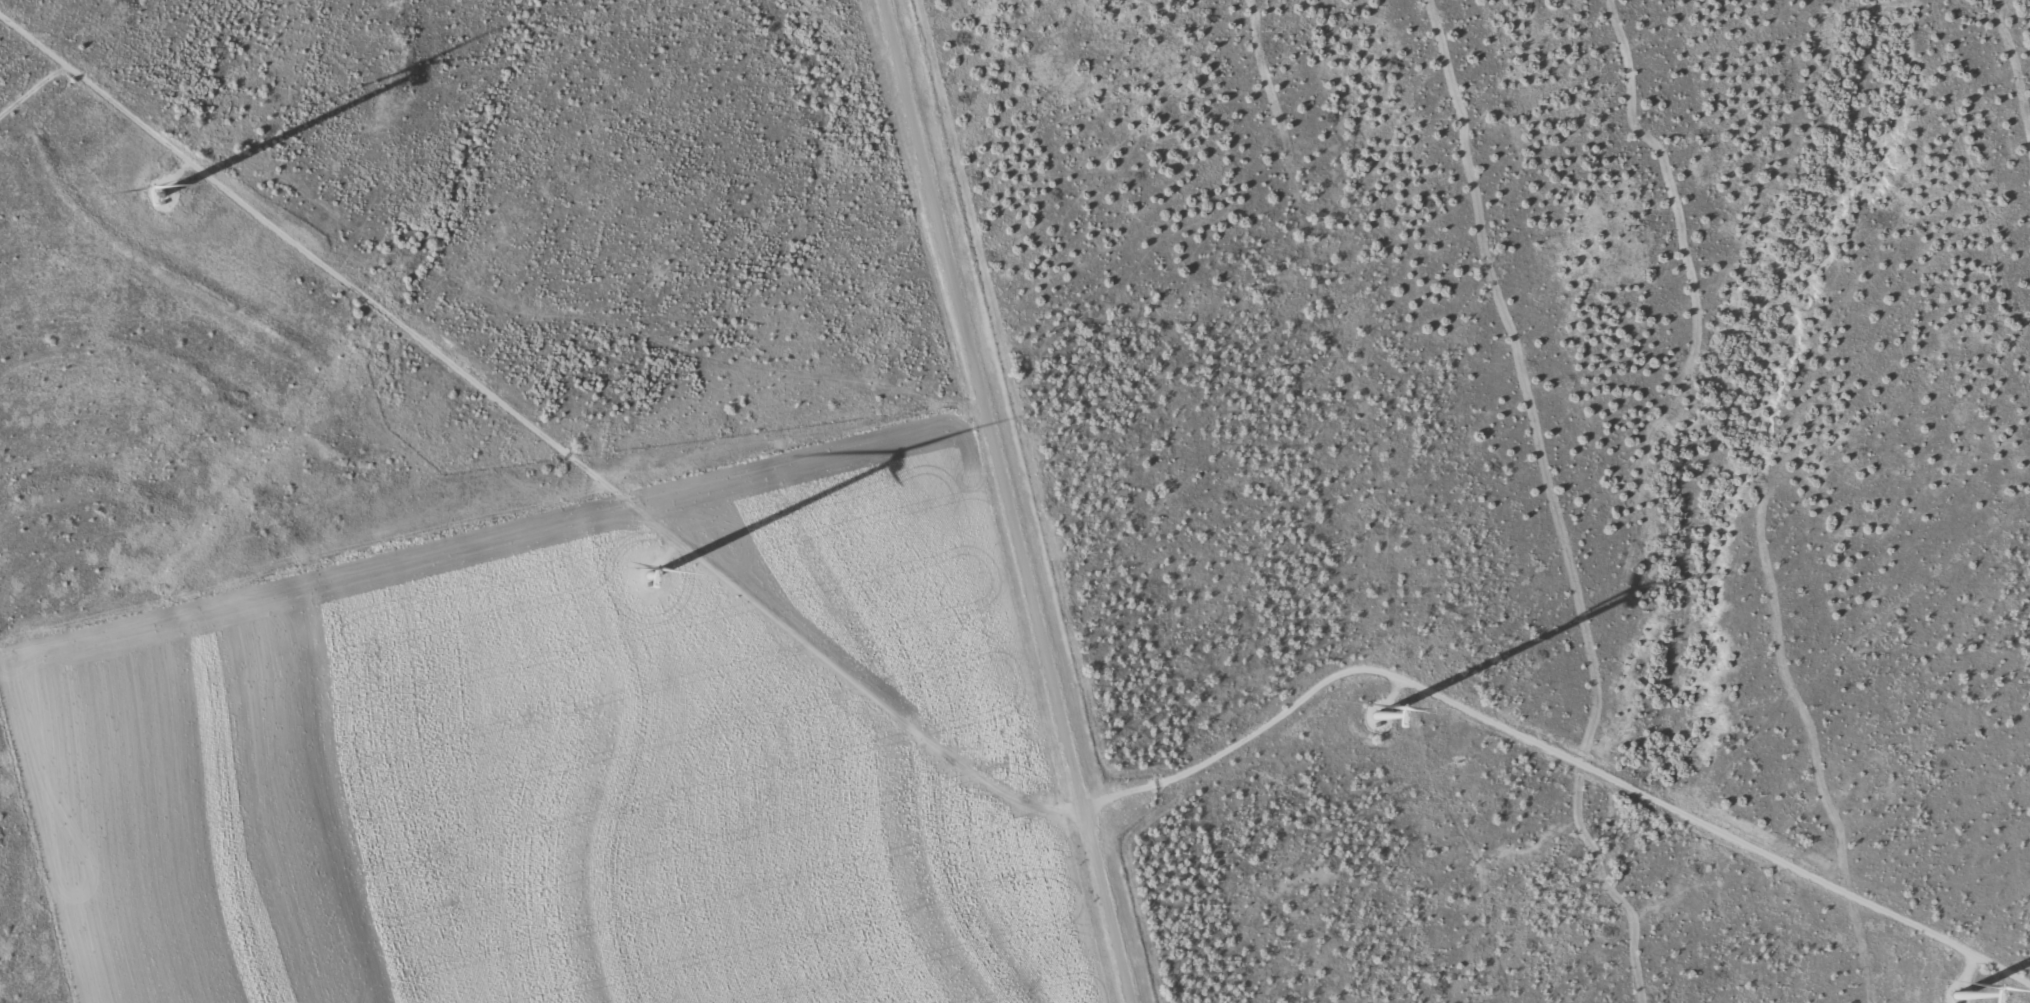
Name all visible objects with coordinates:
wind turbine: (159, 192)
road: (472, 251)
road: (1010, 500)
wind turbine: (648, 561)
wind turbine: (1392, 713)
wind turbine: (1968, 1001)

